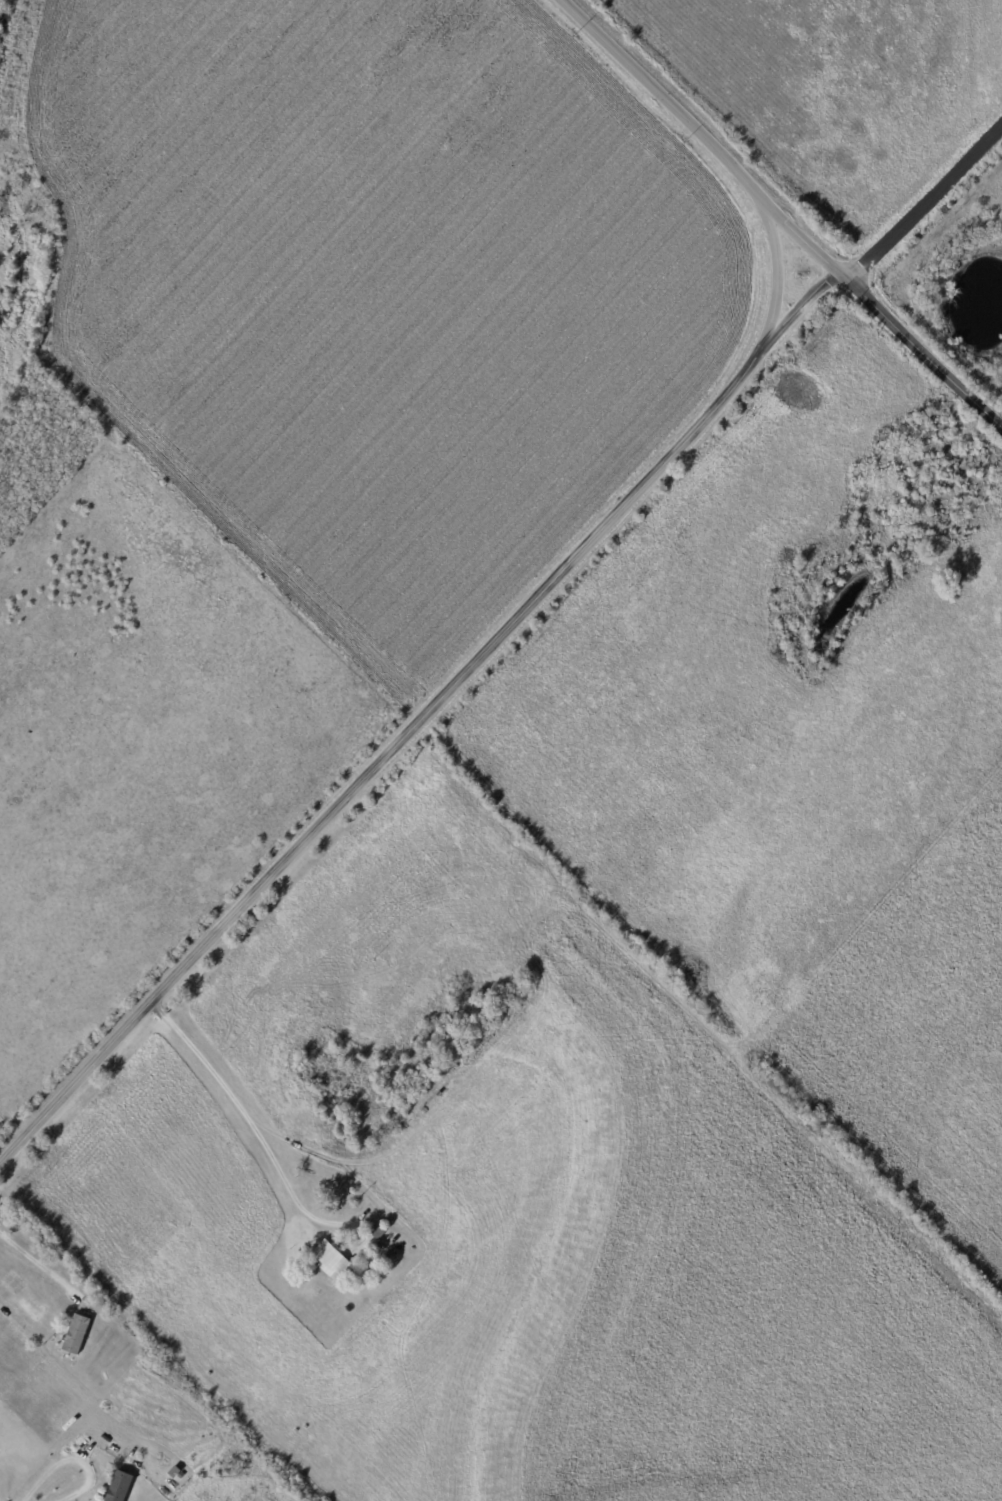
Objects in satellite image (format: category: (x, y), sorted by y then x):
road: (699, 139)
road: (925, 204)
road: (776, 274)
road: (923, 350)
building: (927, 416)
building: (904, 455)
building: (974, 483)
building: (979, 519)
road: (418, 714)
road: (243, 1113)
building: (379, 1231)
building: (391, 1255)
building: (332, 1261)
road: (39, 1266)
building: (77, 1334)
road: (70, 1461)
building: (177, 1474)
building: (121, 1487)

